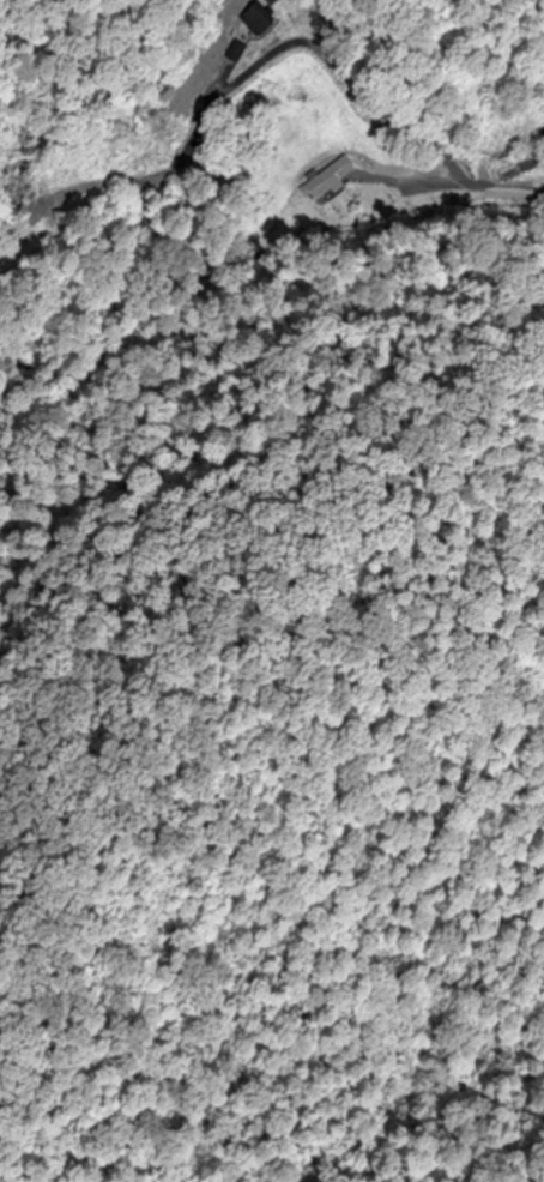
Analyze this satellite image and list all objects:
building: (253, 20)
building: (513, 169)
building: (325, 182)
road: (478, 185)
road: (469, 237)
road: (345, 264)

